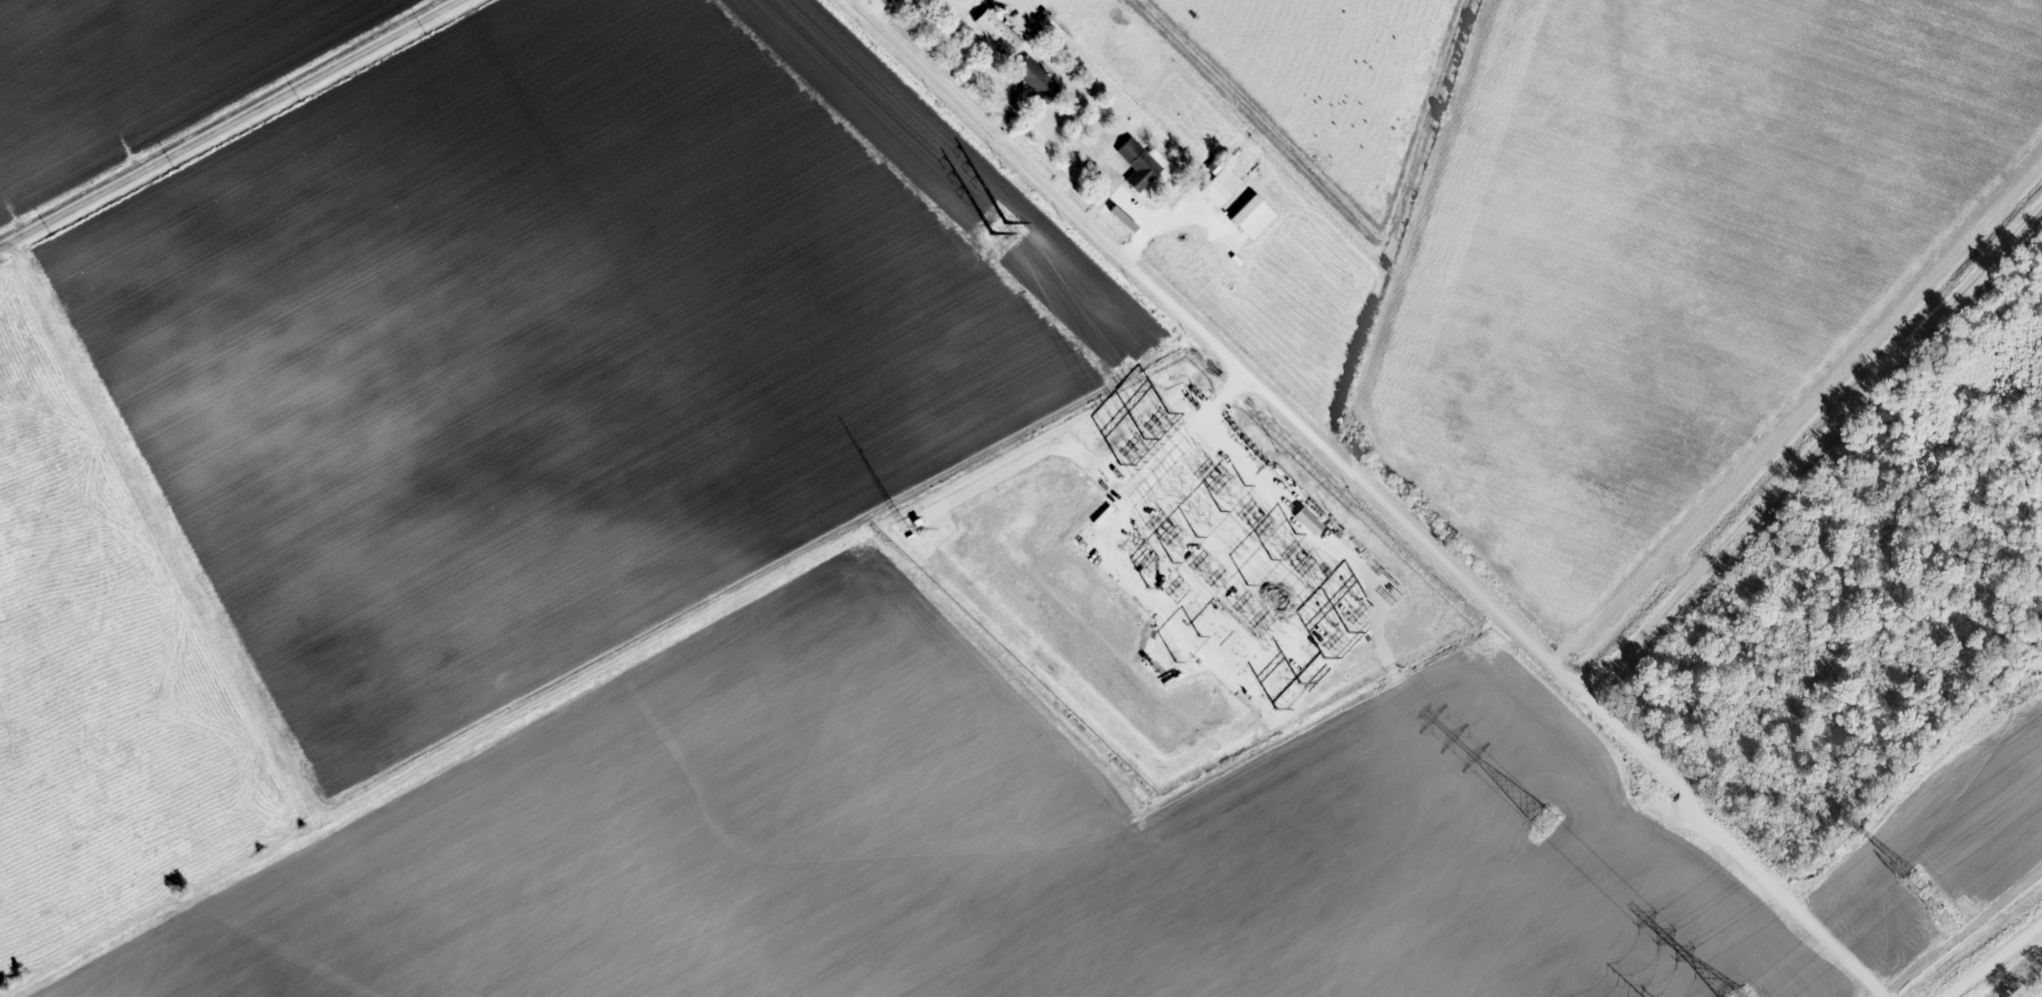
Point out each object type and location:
road: (881, 8)
building: (1001, 30)
building: (1038, 78)
road: (1010, 105)
road: (234, 126)
building: (1141, 163)
building: (1223, 186)
road: (1108, 194)
road: (1219, 206)
building: (1254, 217)
power tower: (1010, 223)
road: (1164, 223)
power tower: (993, 234)
road: (1270, 388)
building: (1310, 520)
power substation: (1177, 576)
power tower: (1549, 824)
power tower: (1916, 882)
power tower: (1947, 918)
railway: (1983, 951)

